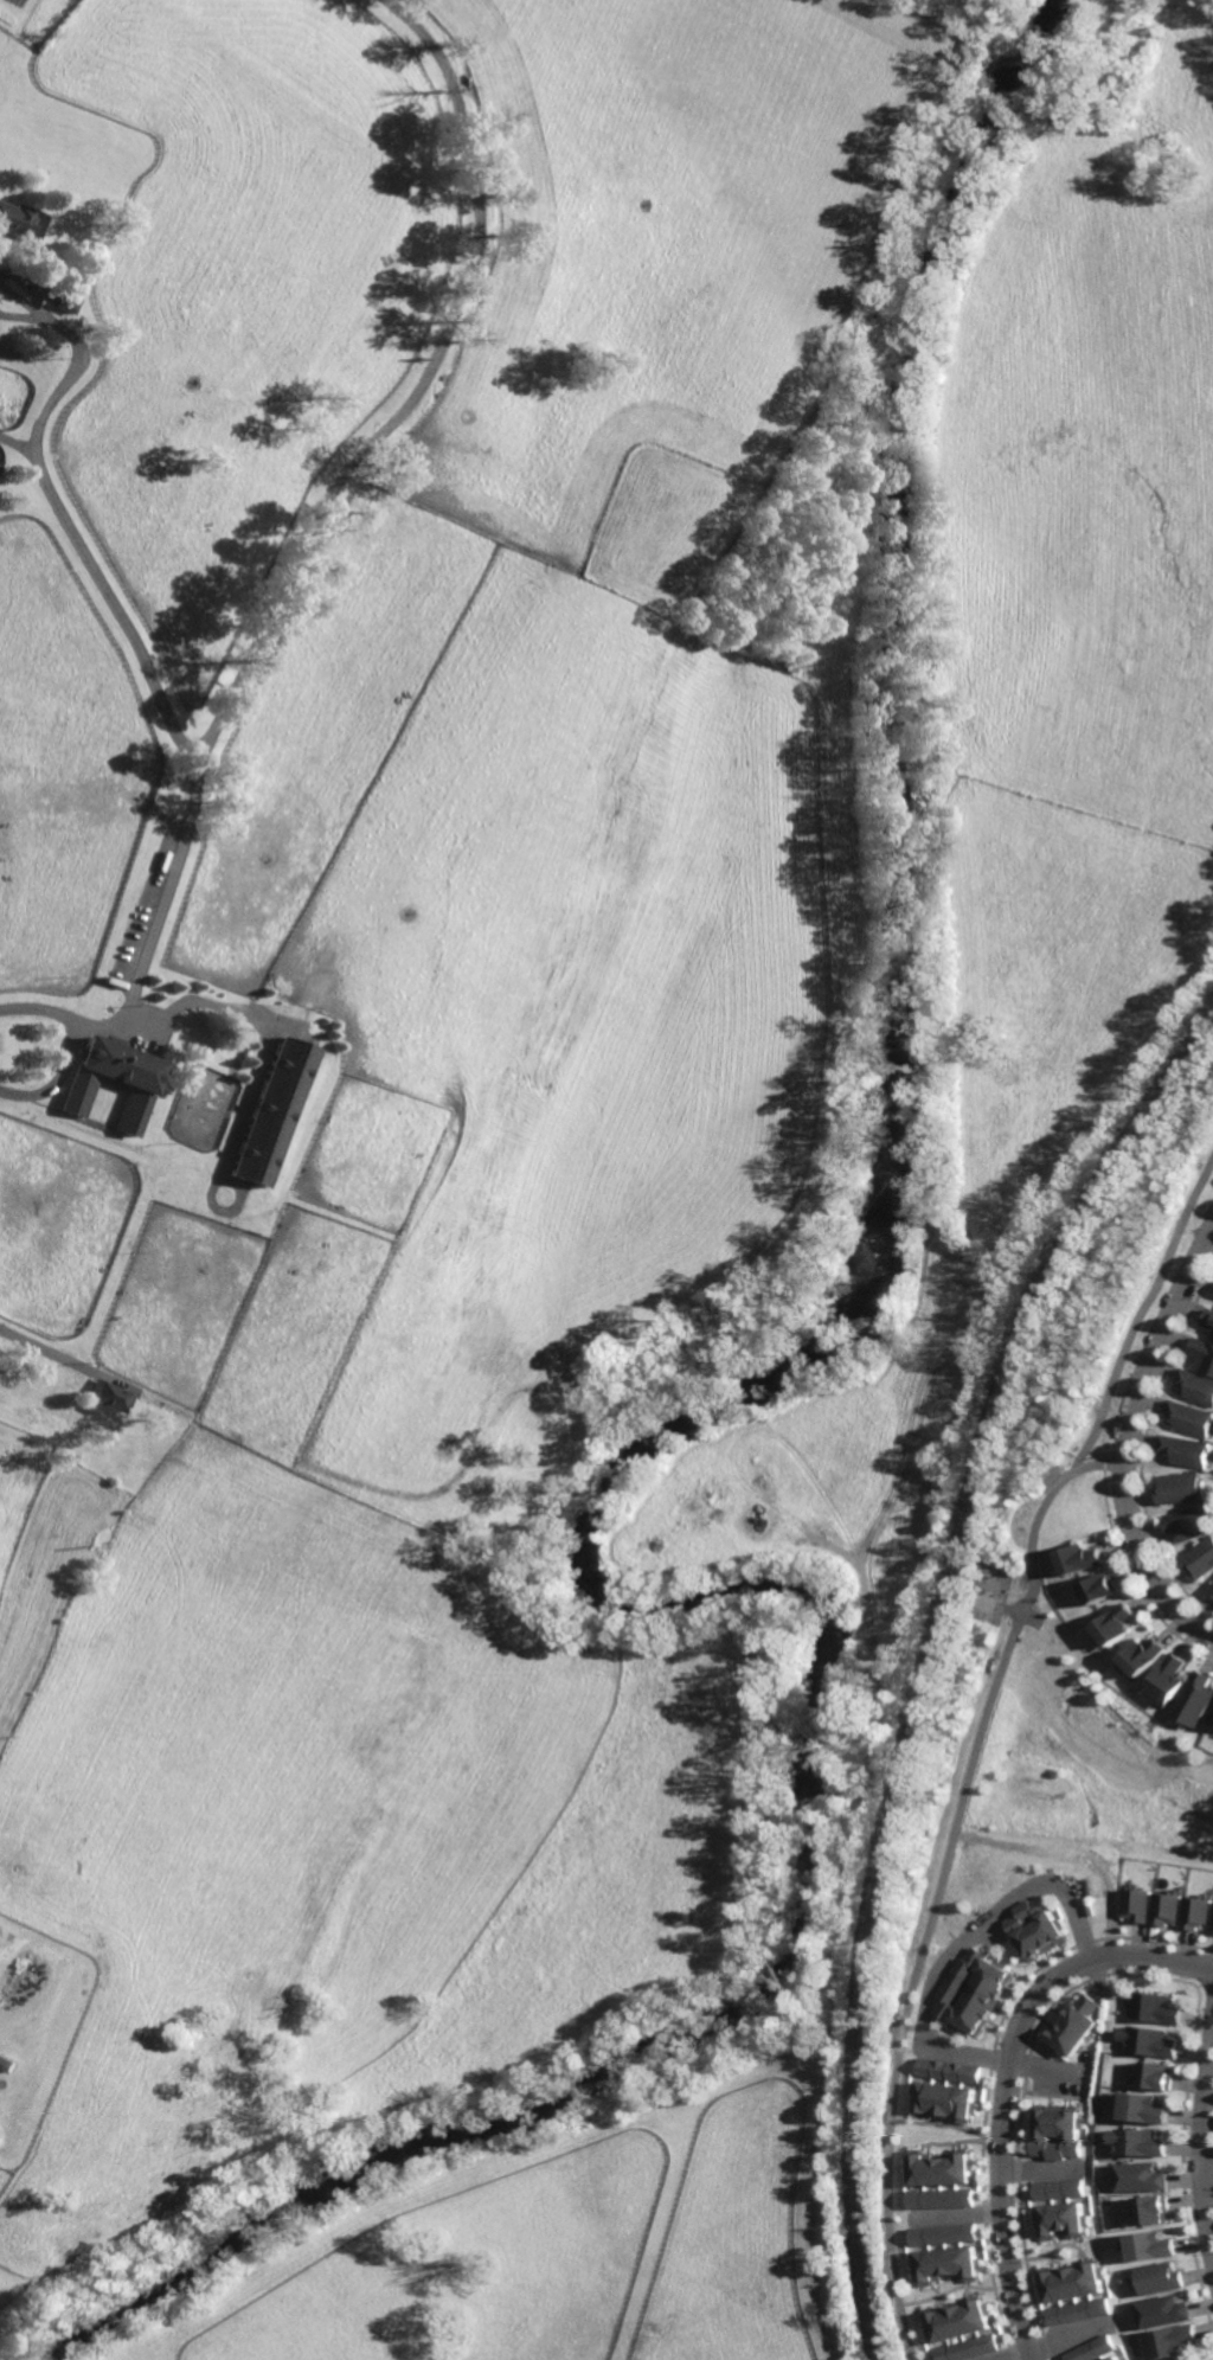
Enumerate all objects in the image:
building: (20, 219)
building: (64, 303)
road: (154, 699)
road: (53, 1079)
building: (109, 1079)
building: (270, 1112)
building: (1209, 1321)
building: (1212, 1330)
road: (44, 1349)
building: (1204, 1354)
building: (1200, 1385)
building: (108, 1396)
building: (1192, 1413)
road: (1129, 1425)
building: (1186, 1447)
road: (1102, 1466)
building: (1181, 1484)
building: (1188, 1521)
building: (1082, 1554)
building: (1200, 1554)
building: (1100, 1585)
building: (1211, 1588)
building: (1116, 1621)
building: (1144, 1653)
railway: (931, 1659)
building: (1168, 1678)
building: (1195, 1698)
building: (1211, 1716)
road: (978, 1738)
building: (1140, 1904)
building: (1170, 1909)
building: (1199, 1912)
building: (1039, 1928)
road: (967, 1941)
building: (976, 1990)
building: (1157, 2008)
building: (1150, 2042)
building: (6, 2063)
building: (949, 2070)
building: (1156, 2077)
road: (1006, 2080)
building: (945, 2101)
building: (1144, 2105)
road: (946, 2124)
building: (1057, 2130)
building: (1140, 2138)
road: (1202, 2141)
building: (943, 2168)
road: (1207, 2170)
building: (1141, 2173)
building: (1058, 2188)
building: (943, 2198)
building: (1153, 2210)
building: (1061, 2220)
building: (945, 2233)
building: (1148, 2243)
building: (948, 2264)
building: (1159, 2277)
building: (1071, 2281)
road: (956, 2288)
building: (1162, 2309)
building: (1077, 2310)
building: (961, 2319)
building: (1169, 2339)
road: (1050, 2341)
building: (969, 2348)
building: (1091, 2349)
building: (1113, 2358)

